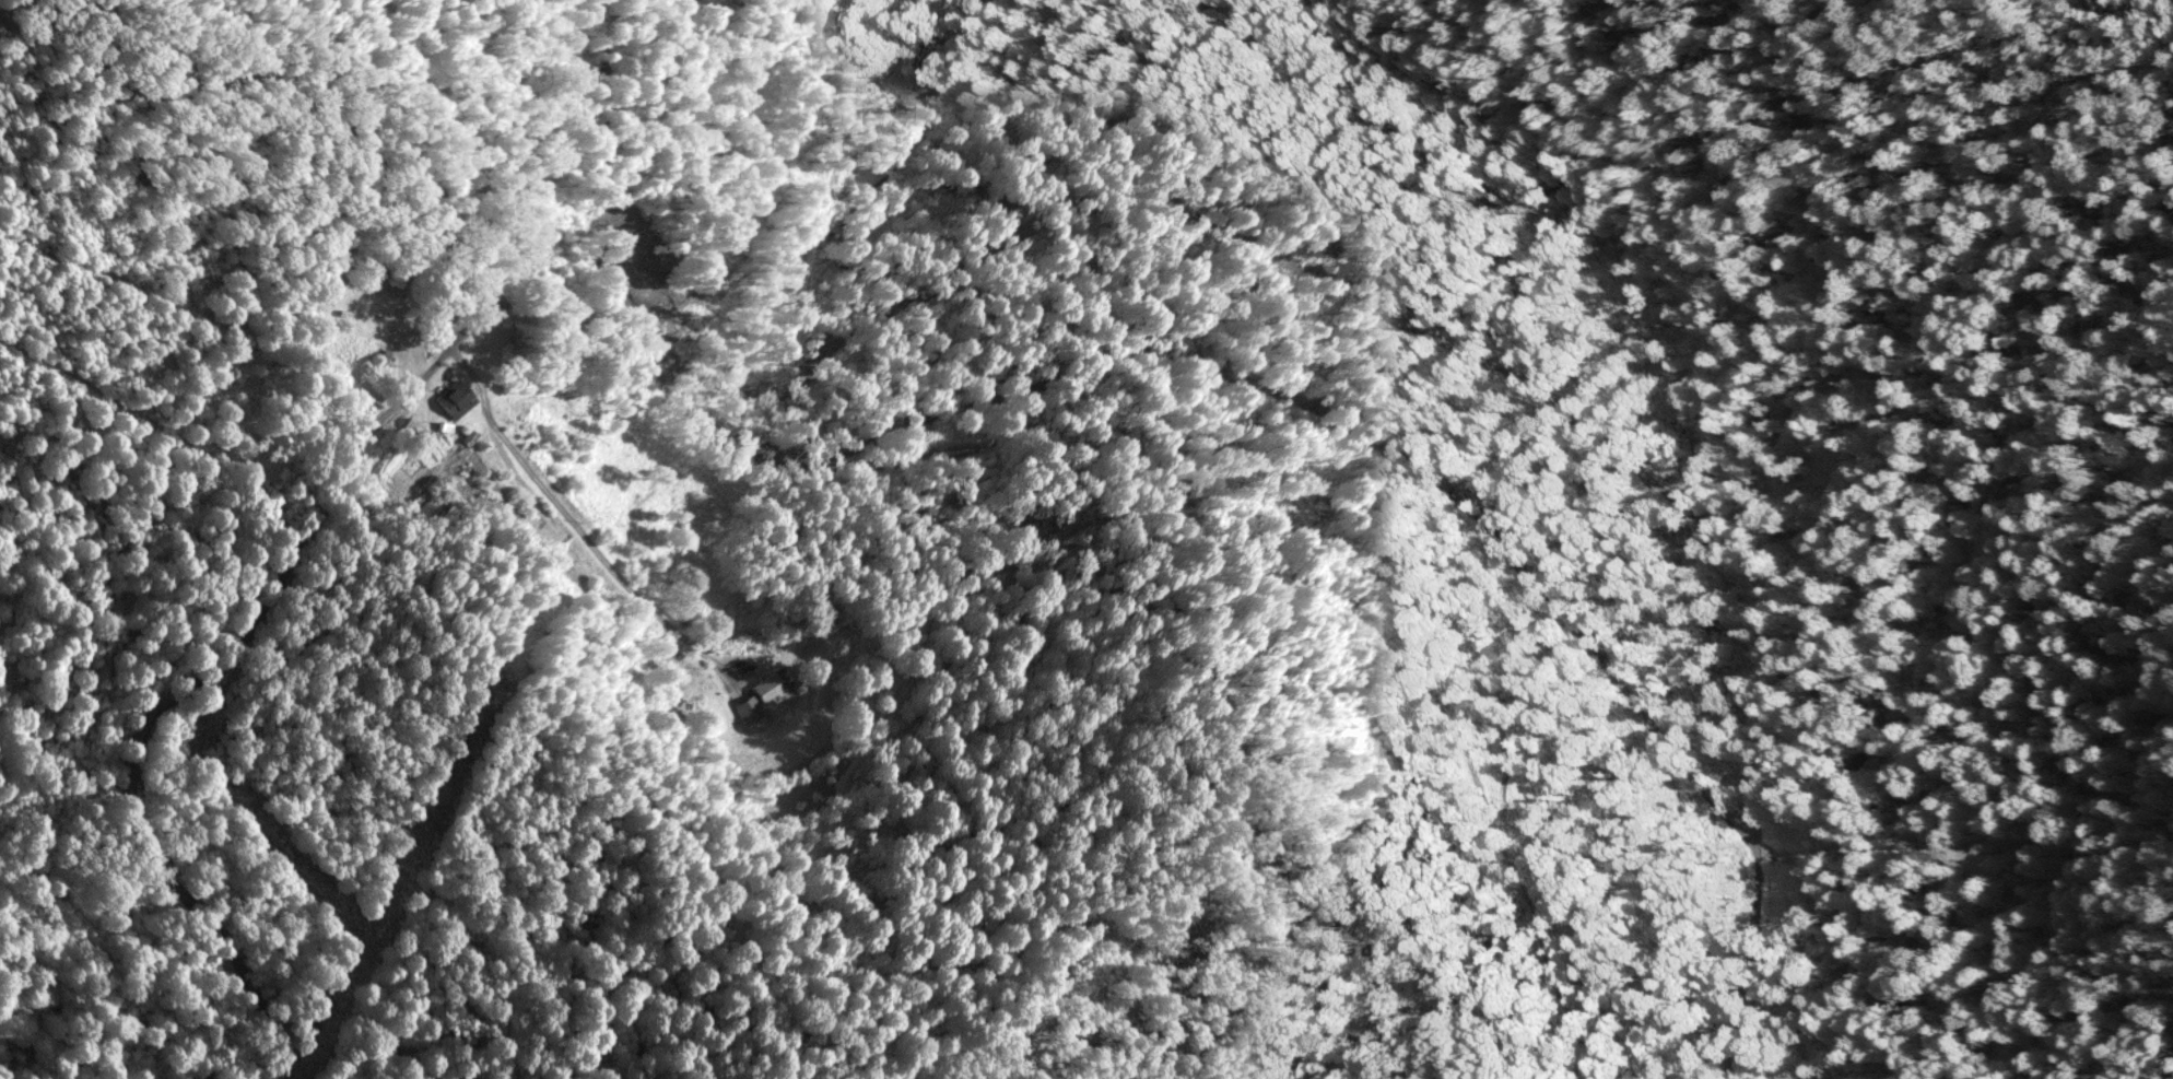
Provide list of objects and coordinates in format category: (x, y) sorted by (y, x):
road: (248, 87)
road: (302, 531)

